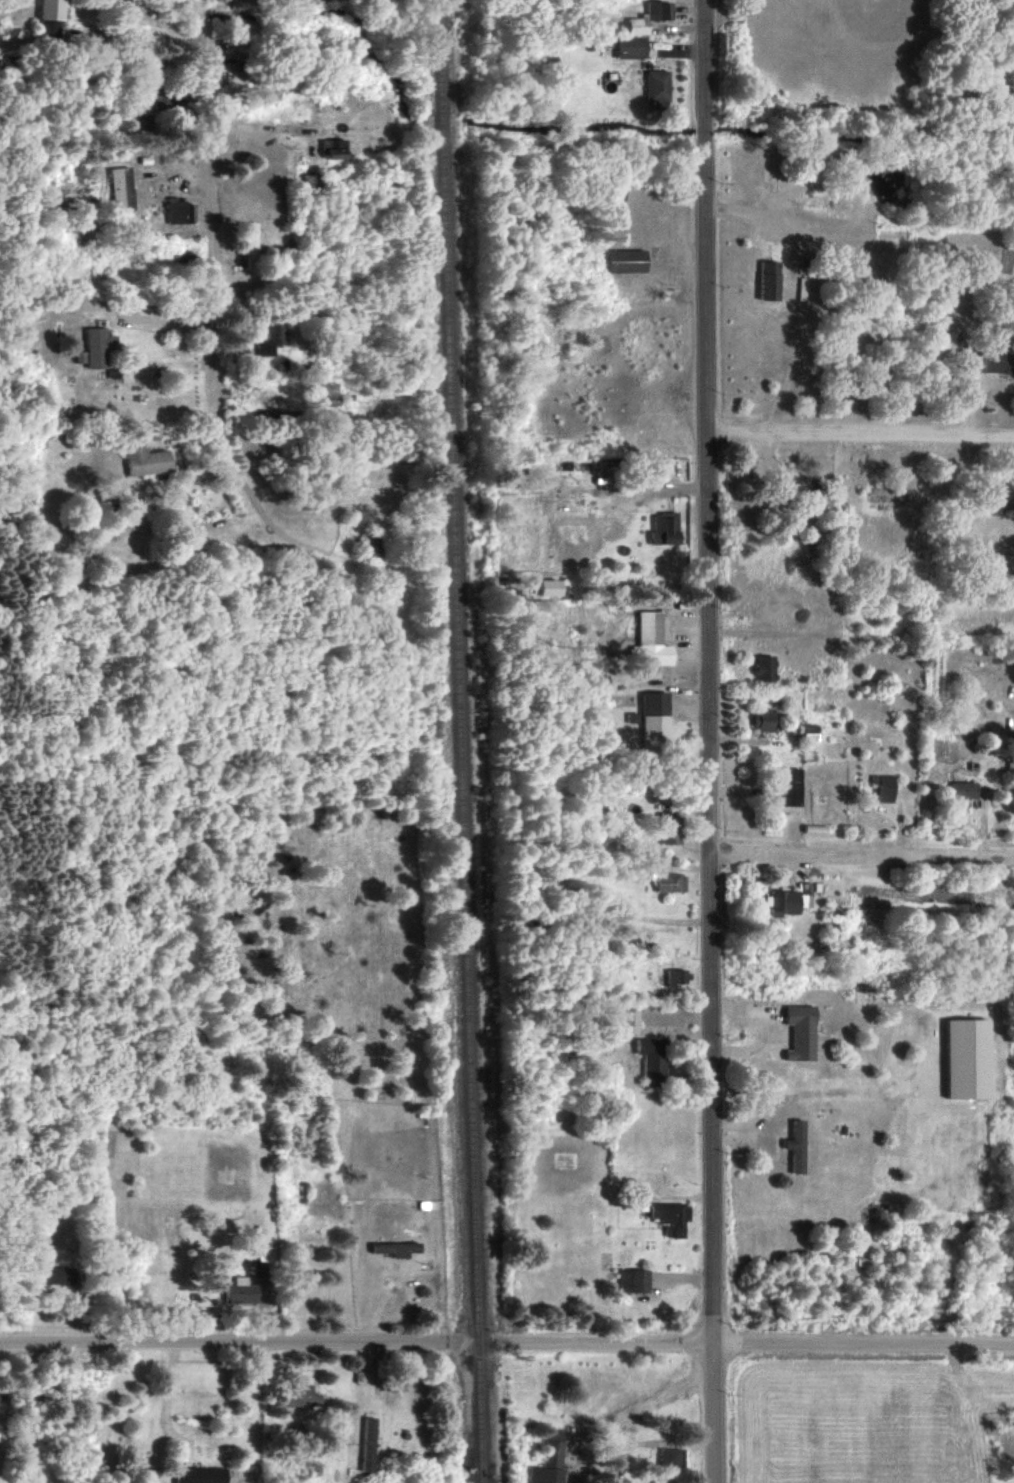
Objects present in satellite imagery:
building: (51, 16)
building: (643, 18)
building: (632, 46)
building: (234, 80)
building: (658, 85)
road: (260, 125)
building: (335, 147)
building: (121, 187)
building: (178, 210)
building: (252, 244)
building: (627, 260)
building: (769, 279)
road: (209, 317)
building: (271, 337)
building: (98, 346)
building: (998, 362)
road: (861, 429)
building: (601, 464)
building: (665, 527)
building: (551, 586)
building: (651, 640)
building: (766, 668)
building: (654, 719)
building: (764, 719)
building: (810, 732)
railway: (462, 741)
road: (709, 741)
building: (1010, 766)
building: (792, 786)
building: (884, 786)
building: (962, 792)
building: (671, 832)
road: (861, 860)
building: (671, 882)
building: (788, 899)
building: (676, 977)
building: (628, 1020)
building: (801, 1032)
building: (968, 1058)
building: (653, 1059)
building: (797, 1145)
building: (671, 1217)
building: (397, 1247)
building: (55, 1274)
building: (634, 1280)
building: (240, 1290)
road: (506, 1343)
road: (174, 1394)
building: (302, 1395)
road: (652, 1397)
road: (40, 1411)
building: (368, 1443)
building: (670, 1456)
building: (549, 1460)
building: (200, 1474)

